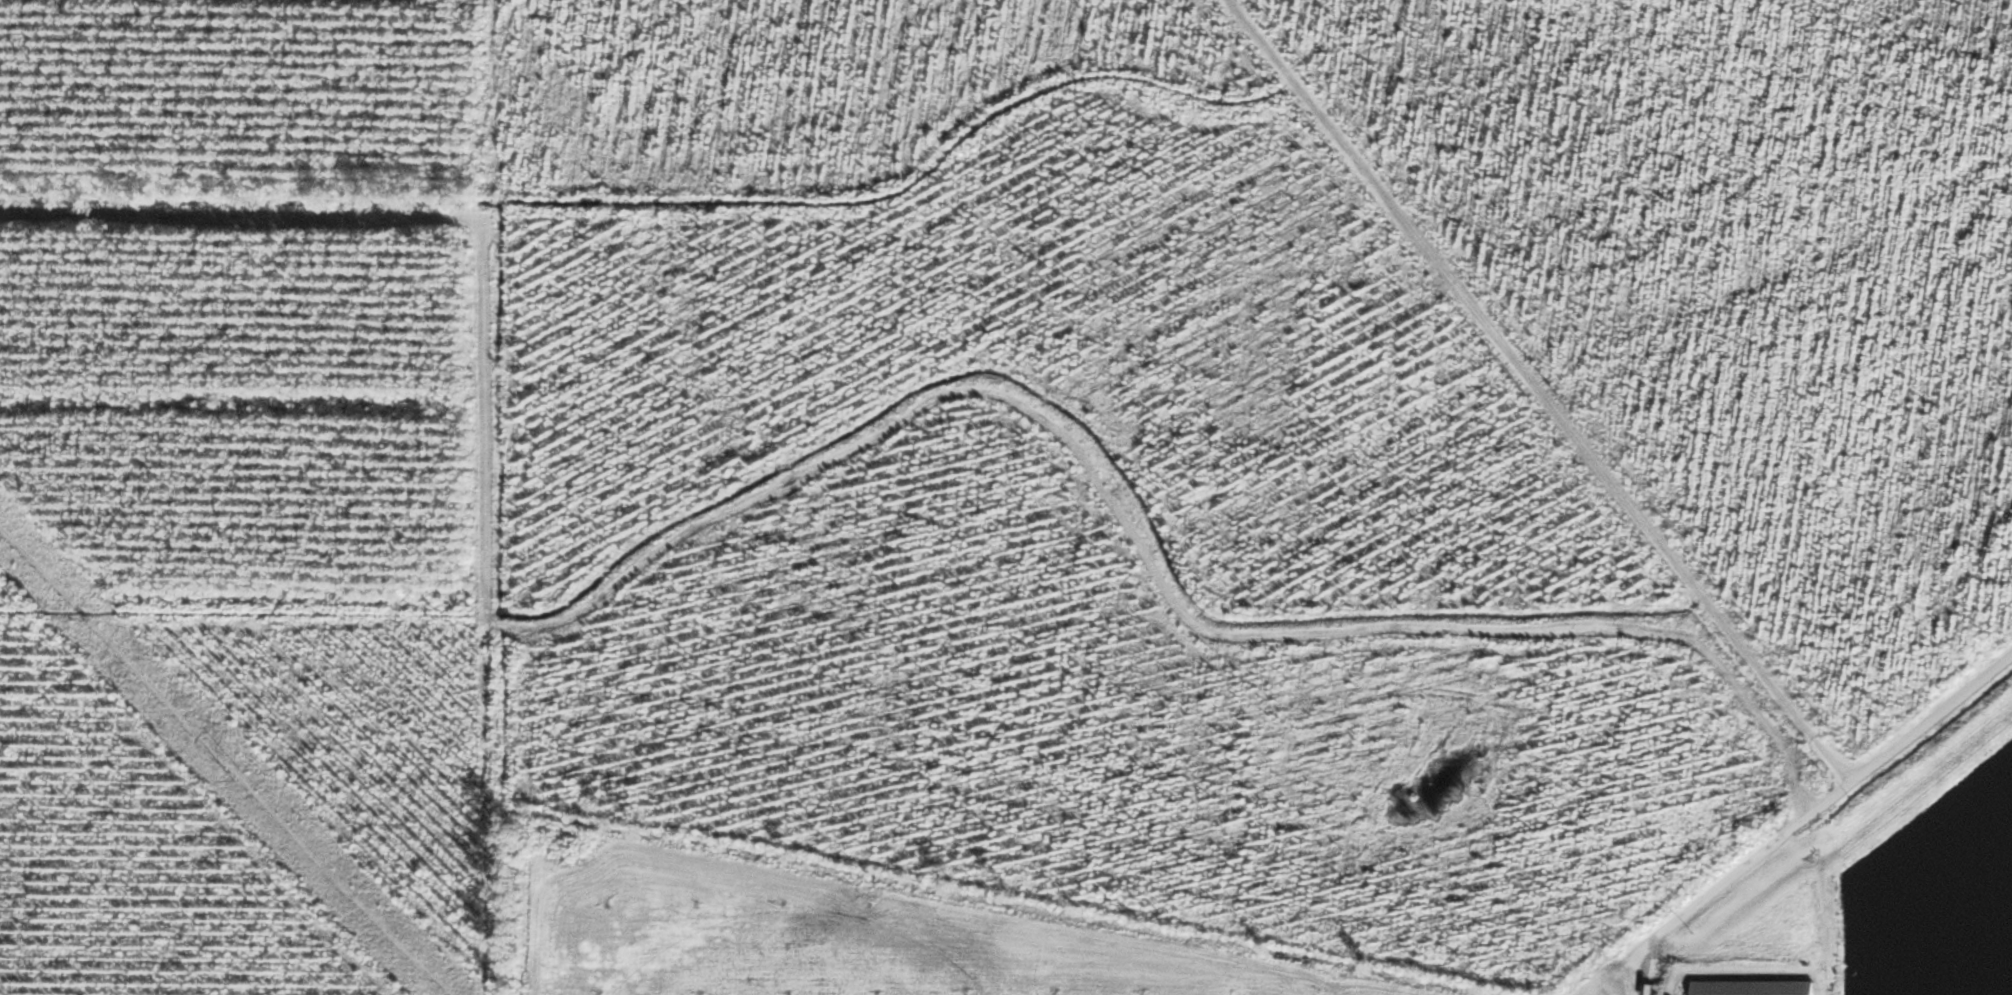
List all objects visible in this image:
power tower: (239, 776)
road: (1795, 823)
building: (1755, 988)

